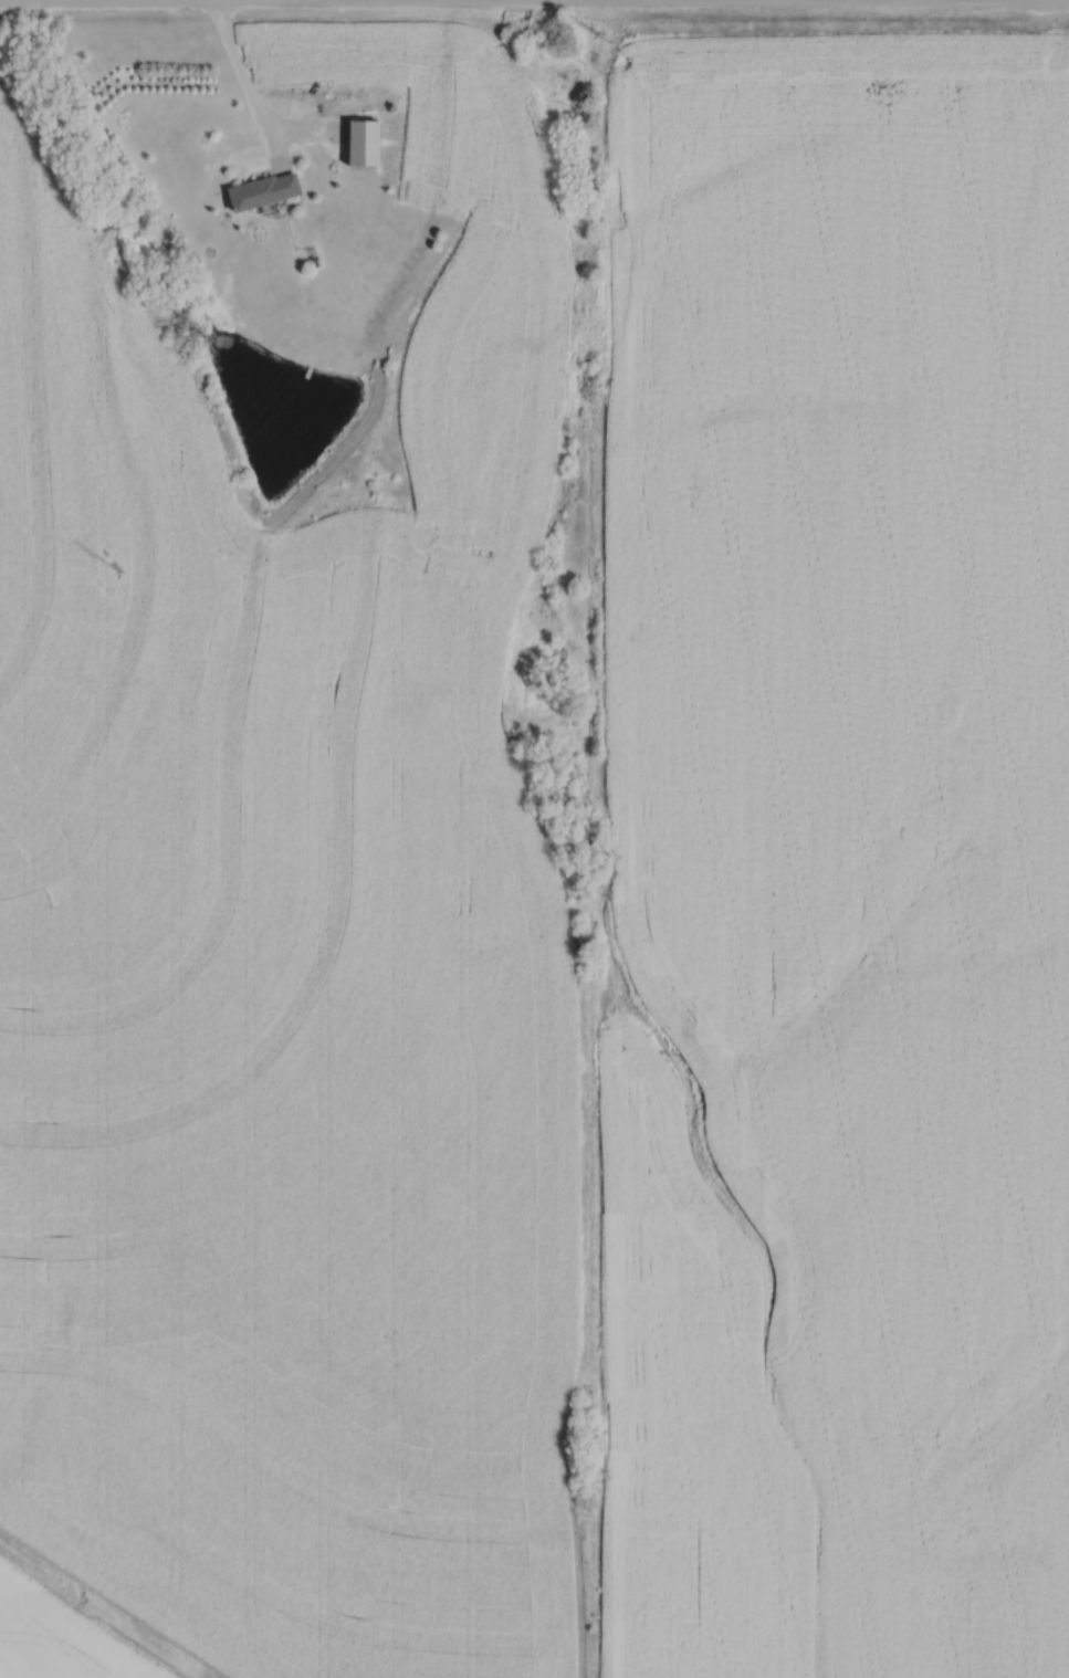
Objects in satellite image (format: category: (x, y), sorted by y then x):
road: (534, 2)
power tower: (609, 41)
road: (248, 81)
building: (368, 139)
building: (268, 188)
power tower: (114, 565)

